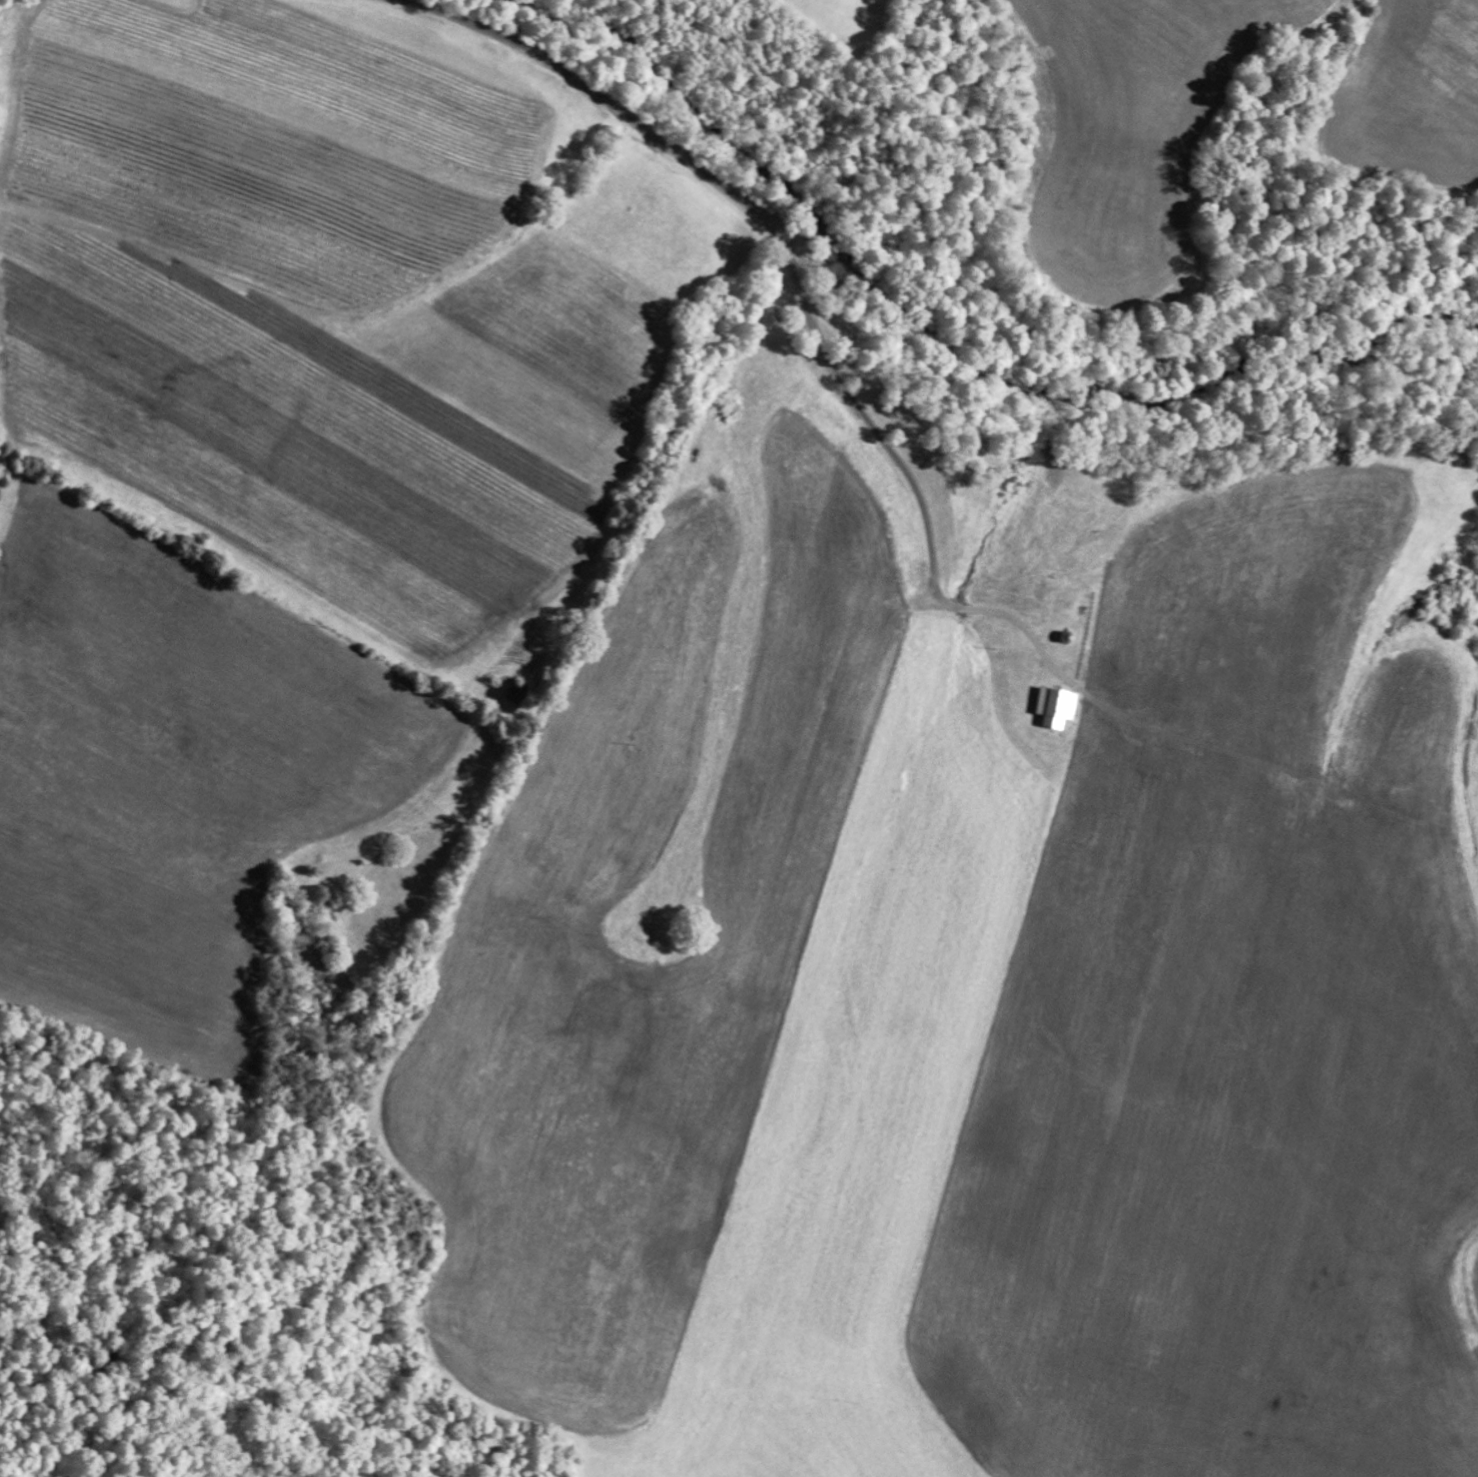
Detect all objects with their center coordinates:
road: (784, 246)
building: (1061, 706)

